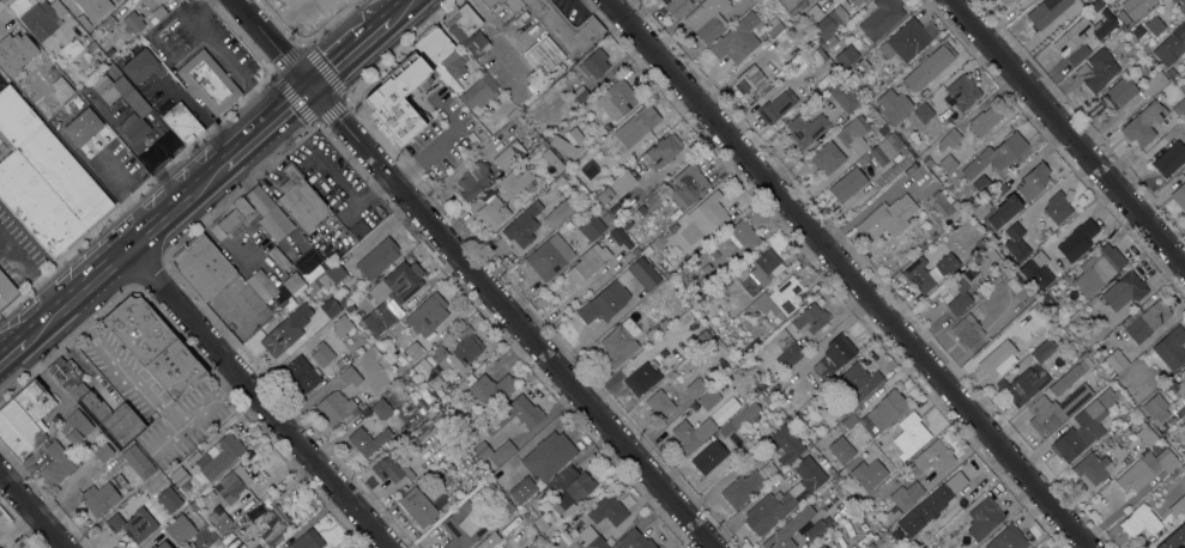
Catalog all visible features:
building: (1014, 0)
building: (157, 1)
building: (170, 2)
building: (857, 2)
building: (503, 4)
building: (792, 5)
building: (1179, 5)
building: (93, 7)
building: (678, 7)
building: (1136, 7)
road: (400, 8)
building: (1052, 11)
building: (158, 12)
building: (881, 18)
building: (43, 19)
building: (707, 19)
building: (833, 20)
building: (1125, 22)
building: (132, 23)
building: (105, 25)
building: (1155, 26)
building: (774, 28)
building: (1102, 28)
building: (466, 29)
building: (564, 29)
building: (1137, 31)
building: (1118, 34)
building: (1070, 38)
building: (736, 39)
building: (908, 39)
building: (784, 41)
building: (830, 42)
building: (91, 49)
building: (1169, 50)
building: (14, 53)
road: (351, 53)
road: (224, 56)
building: (845, 56)
building: (1078, 56)
building: (441, 57)
building: (815, 59)
building: (593, 63)
building: (863, 63)
building: (97, 66)
building: (139, 66)
building: (929, 68)
building: (1096, 71)
building: (1171, 73)
building: (68, 74)
building: (748, 80)
building: (1, 83)
building: (207, 83)
building: (1153, 84)
building: (1169, 86)
building: (478, 92)
building: (962, 92)
building: (1124, 93)
building: (580, 95)
building: (844, 96)
building: (616, 99)
building: (397, 101)
building: (891, 104)
building: (776, 106)
building: (1179, 109)
building: (141, 110)
building: (809, 111)
building: (923, 112)
road: (197, 114)
building: (16, 118)
building: (984, 121)
building: (182, 123)
building: (1184, 123)
building: (1143, 124)
building: (636, 126)
building: (83, 127)
road: (265, 127)
building: (805, 129)
building: (882, 130)
road: (1068, 132)
building: (854, 134)
building: (573, 135)
building: (949, 139)
building: (896, 142)
building: (4, 151)
building: (661, 152)
building: (882, 152)
building: (508, 156)
building: (996, 156)
building: (826, 158)
building: (1169, 158)
building: (947, 164)
building: (556, 165)
building: (588, 170)
building: (472, 179)
building: (1033, 181)
building: (514, 182)
building: (621, 182)
railway: (207, 183)
building: (847, 184)
building: (981, 184)
building: (685, 185)
building: (49, 191)
building: (604, 196)
building: (1179, 196)
building: (300, 199)
building: (655, 200)
building: (945, 206)
building: (984, 207)
building: (1057, 207)
building: (641, 209)
building: (492, 213)
building: (618, 213)
building: (268, 214)
building: (708, 214)
building: (1004, 214)
building: (557, 215)
building: (235, 217)
building: (604, 217)
building: (888, 218)
building: (625, 223)
building: (568, 225)
building: (522, 226)
building: (591, 227)
building: (672, 227)
building: (1046, 232)
building: (744, 233)
building: (619, 237)
building: (1077, 239)
building: (343, 240)
building: (1015, 242)
road: (109, 246)
building: (714, 254)
building: (549, 257)
building: (377, 258)
building: (1038, 260)
building: (588, 262)
road: (125, 264)
building: (947, 264)
building: (202, 267)
building: (1096, 269)
building: (758, 270)
road: (474, 273)
building: (335, 274)
building: (643, 274)
road: (846, 274)
building: (919, 275)
building: (974, 276)
building: (292, 282)
building: (398, 282)
building: (6, 290)
building: (1123, 291)
building: (713, 292)
building: (779, 299)
building: (1048, 299)
building: (604, 303)
building: (289, 305)
building: (329, 308)
building: (1038, 312)
building: (428, 313)
building: (382, 317)
building: (810, 319)
building: (1144, 321)
building: (340, 325)
building: (286, 330)
building: (654, 330)
building: (967, 330)
building: (618, 346)
building: (787, 346)
building: (1171, 347)
building: (155, 348)
building: (839, 349)
building: (413, 351)
building: (465, 351)
building: (738, 351)
building: (1044, 351)
road: (8, 353)
building: (437, 353)
building: (321, 354)
building: (998, 359)
building: (1116, 360)
building: (359, 366)
building: (646, 372)
building: (302, 373)
building: (427, 373)
building: (385, 376)
building: (67, 377)
building: (1068, 377)
building: (857, 382)
building: (1027, 384)
building: (1178, 384)
building: (699, 385)
building: (491, 389)
road: (254, 392)
building: (709, 397)
building: (1107, 397)
building: (767, 400)
road: (150, 404)
building: (659, 404)
building: (333, 407)
building: (1156, 408)
building: (381, 409)
building: (1054, 409)
building: (877, 414)
building: (515, 415)
building: (1184, 415)
building: (796, 418)
building: (24, 419)
building: (740, 419)
building: (1184, 419)
building: (74, 427)
building: (418, 431)
building: (1080, 432)
building: (691, 433)
building: (908, 434)
building: (1145, 434)
building: (367, 440)
building: (1178, 442)
road: (162, 443)
building: (784, 445)
building: (841, 450)
building: (102, 452)
building: (494, 452)
building: (548, 456)
building: (709, 456)
building: (933, 457)
building: (218, 458)
building: (55, 464)
building: (387, 468)
building: (1092, 469)
building: (1145, 469)
building: (768, 470)
building: (809, 474)
building: (180, 477)
building: (854, 477)
building: (119, 481)
building: (488, 488)
building: (742, 488)
building: (522, 489)
building: (570, 489)
building: (225, 495)
building: (169, 499)
building: (537, 499)
building: (902, 500)
building: (931, 505)
building: (417, 506)
building: (1177, 506)
building: (506, 510)
building: (606, 510)
building: (768, 512)
road: (29, 513)
building: (983, 518)
building: (1139, 520)
building: (137, 522)
building: (271, 522)
building: (465, 524)
building: (542, 524)
building: (512, 525)
building: (180, 530)
building: (788, 530)
building: (815, 530)
building: (590, 535)
building: (1008, 538)
building: (1174, 538)
building: (230, 541)
building: (307, 541)
building: (634, 541)
building: (261, 543)
building: (485, 543)
building: (163, 544)
building: (820, 546)
building: (152, 547)

